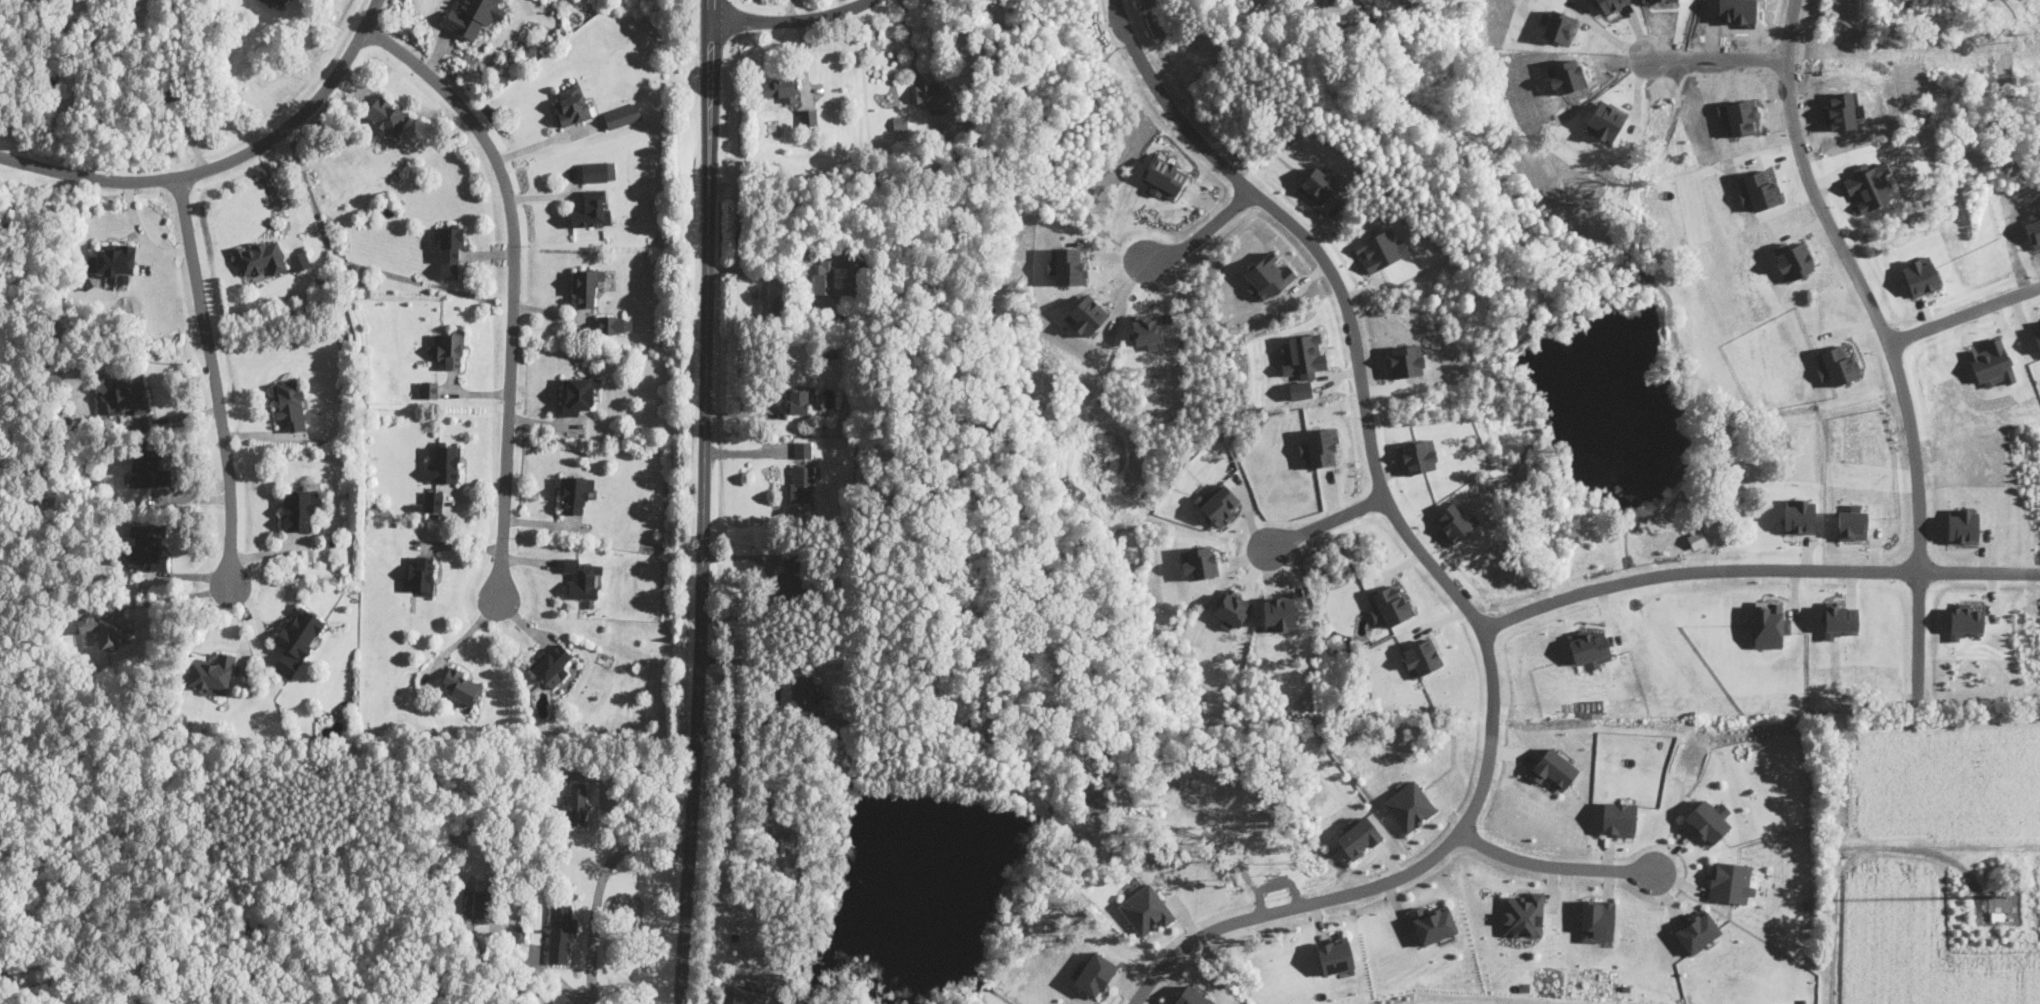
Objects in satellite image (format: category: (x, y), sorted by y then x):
building: (277, 3)
building: (473, 16)
road: (797, 23)
road: (909, 39)
road: (1719, 52)
building: (780, 87)
building: (933, 95)
building: (572, 105)
building: (387, 115)
building: (622, 115)
building: (808, 116)
building: (900, 123)
road: (549, 140)
road: (225, 161)
building: (598, 171)
building: (1165, 177)
building: (1317, 186)
road: (285, 193)
building: (592, 208)
road: (1205, 232)
building: (450, 243)
building: (1379, 250)
building: (261, 256)
building: (299, 259)
building: (116, 262)
building: (1065, 264)
building: (838, 274)
building: (1920, 275)
building: (1267, 276)
road: (514, 281)
building: (586, 286)
building: (1086, 315)
road: (1963, 315)
building: (615, 324)
building: (1146, 329)
building: (2037, 334)
road: (1884, 337)
building: (449, 347)
building: (1303, 356)
building: (1406, 360)
building: (1836, 365)
road: (214, 379)
building: (429, 389)
building: (578, 393)
building: (125, 395)
building: (799, 399)
building: (290, 404)
building: (1319, 447)
building: (802, 448)
building: (1418, 456)
building: (444, 462)
building: (149, 468)
building: (802, 483)
building: (576, 493)
building: (433, 500)
road: (703, 502)
building: (1217, 504)
building: (299, 508)
building: (1799, 515)
building: (1455, 520)
building: (1851, 522)
road: (1326, 523)
building: (1962, 525)
building: (1695, 537)
building: (145, 547)
building: (1198, 563)
road: (1434, 565)
road: (1757, 571)
building: (421, 575)
building: (583, 577)
building: (791, 578)
road: (184, 595)
building: (1389, 606)
building: (1232, 609)
building: (1278, 613)
building: (1839, 620)
building: (1964, 621)
building: (1769, 625)
building: (108, 629)
building: (300, 631)
road: (463, 637)
building: (1589, 649)
building: (1421, 657)
building: (553, 663)
building: (286, 664)
building: (211, 674)
building: (463, 685)
building: (804, 693)
building: (831, 713)
building: (1553, 769)
building: (575, 805)
building: (1409, 806)
building: (1618, 818)
building: (1707, 822)
road: (1198, 827)
building: (1358, 837)
road: (1856, 842)
road: (1554, 866)
road: (1275, 874)
building: (1729, 882)
road: (599, 890)
building: (476, 903)
building: (1145, 909)
building: (1522, 915)
building: (1597, 920)
building: (1431, 924)
building: (1697, 932)
building: (561, 934)
building: (519, 935)
building: (1335, 956)
building: (1095, 974)
road: (553, 977)
building: (747, 994)
building: (1192, 997)

